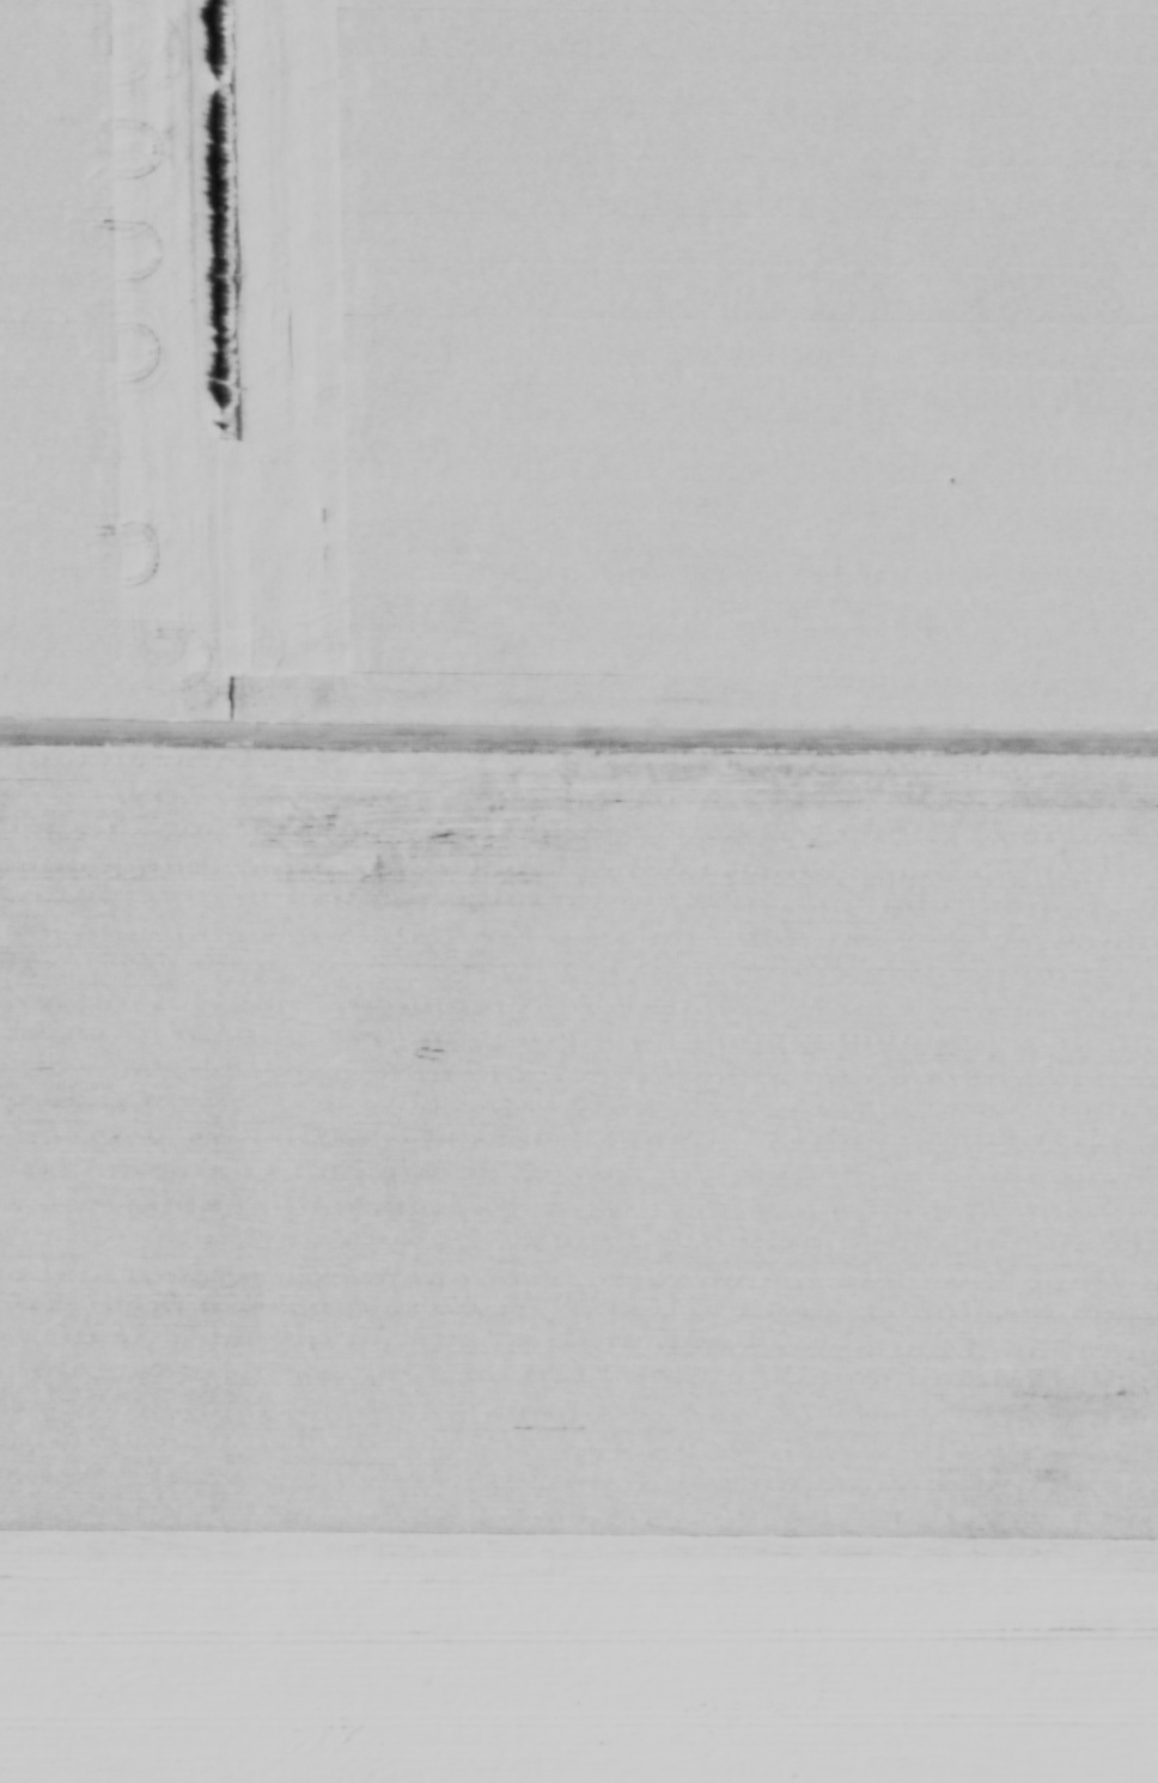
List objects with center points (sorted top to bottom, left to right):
road: (578, 729)

